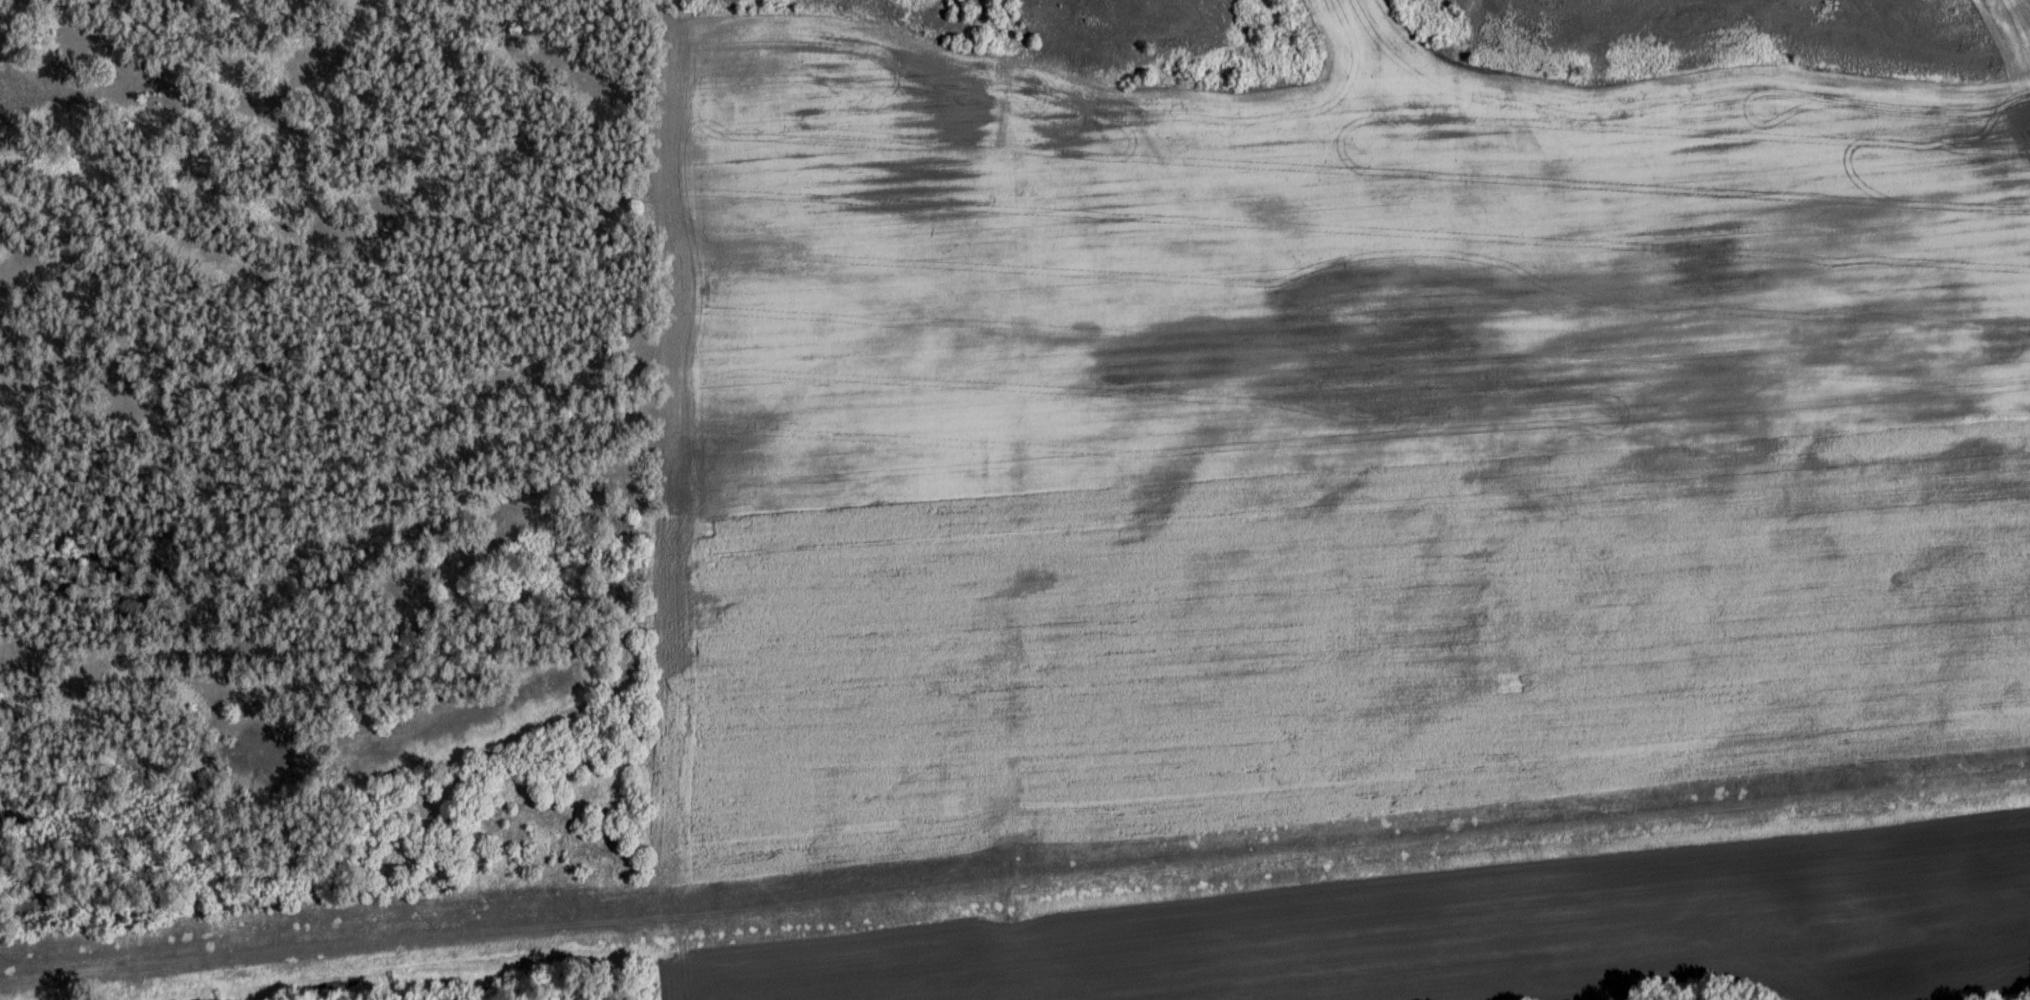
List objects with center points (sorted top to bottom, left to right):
road: (1548, 9)
road: (2000, 32)
road: (1015, 875)

